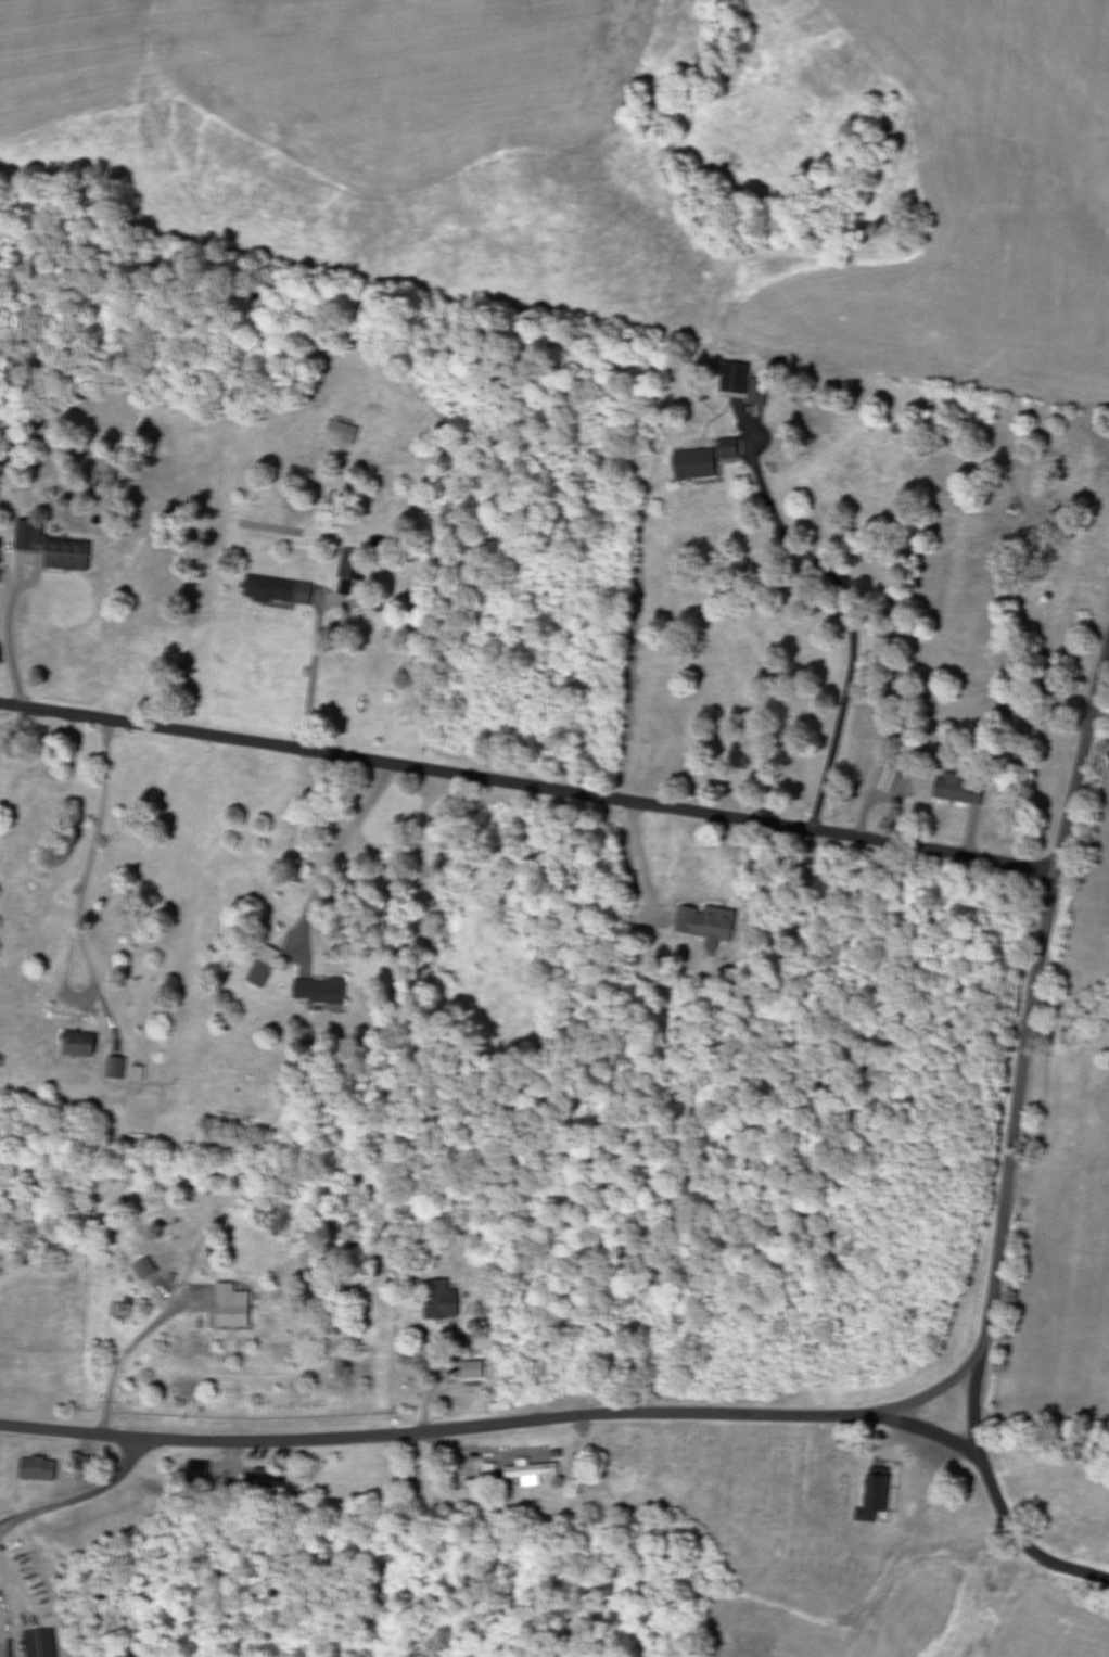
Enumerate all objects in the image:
building: (750, 384)
building: (350, 432)
building: (735, 449)
building: (702, 464)
building: (59, 549)
building: (356, 571)
building: (283, 589)
building: (892, 777)
road: (530, 788)
building: (963, 790)
road: (85, 901)
building: (713, 926)
building: (268, 967)
building: (326, 992)
building: (85, 1045)
building: (119, 1068)
building: (141, 1073)
building: (150, 1269)
building: (445, 1300)
building: (238, 1307)
building: (477, 1371)
road: (850, 1418)
road: (925, 1427)
building: (43, 1469)
building: (204, 1473)
building: (536, 1473)
building: (280, 1481)
building: (880, 1495)
road: (997, 1496)
road: (82, 1501)
park: (762, 1508)
building: (46, 1644)

